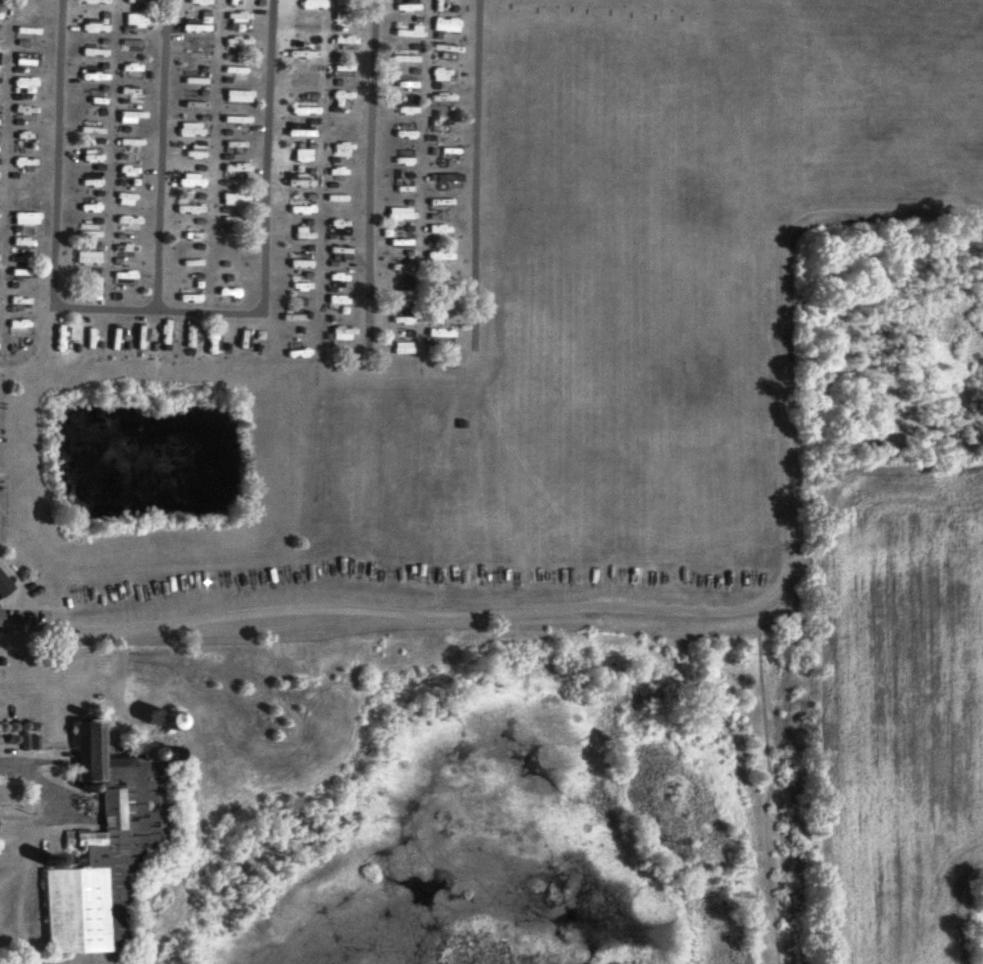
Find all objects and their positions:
building: (226, 2)
building: (337, 4)
building: (307, 5)
building: (100, 18)
building: (134, 19)
building: (235, 19)
building: (442, 25)
building: (198, 27)
building: (406, 31)
building: (341, 43)
building: (135, 44)
building: (95, 52)
building: (27, 58)
building: (340, 69)
building: (235, 71)
building: (439, 74)
building: (196, 78)
building: (302, 82)
building: (306, 107)
building: (402, 110)
building: (132, 115)
building: (236, 120)
building: (440, 125)
building: (95, 127)
building: (195, 128)
building: (344, 146)
road: (169, 155)
building: (96, 156)
building: (26, 161)
road: (373, 172)
road: (476, 173)
building: (404, 188)
building: (241, 196)
building: (438, 205)
building: (200, 206)
building: (305, 208)
building: (401, 213)
building: (26, 217)
building: (238, 218)
building: (138, 222)
building: (307, 234)
building: (402, 240)
building: (132, 256)
building: (97, 257)
building: (203, 260)
building: (302, 262)
building: (400, 265)
building: (135, 276)
building: (341, 278)
building: (301, 280)
building: (2, 283)
building: (107, 283)
building: (439, 284)
building: (404, 290)
building: (234, 294)
building: (200, 297)
building: (341, 303)
building: (439, 308)
building: (403, 310)
road: (171, 311)
building: (177, 331)
building: (343, 333)
building: (436, 334)
building: (154, 336)
building: (71, 339)
building: (101, 340)
building: (2, 342)
building: (128, 343)
building: (401, 348)
building: (4, 583)
road: (671, 610)
building: (90, 754)
road: (39, 777)
building: (91, 888)

